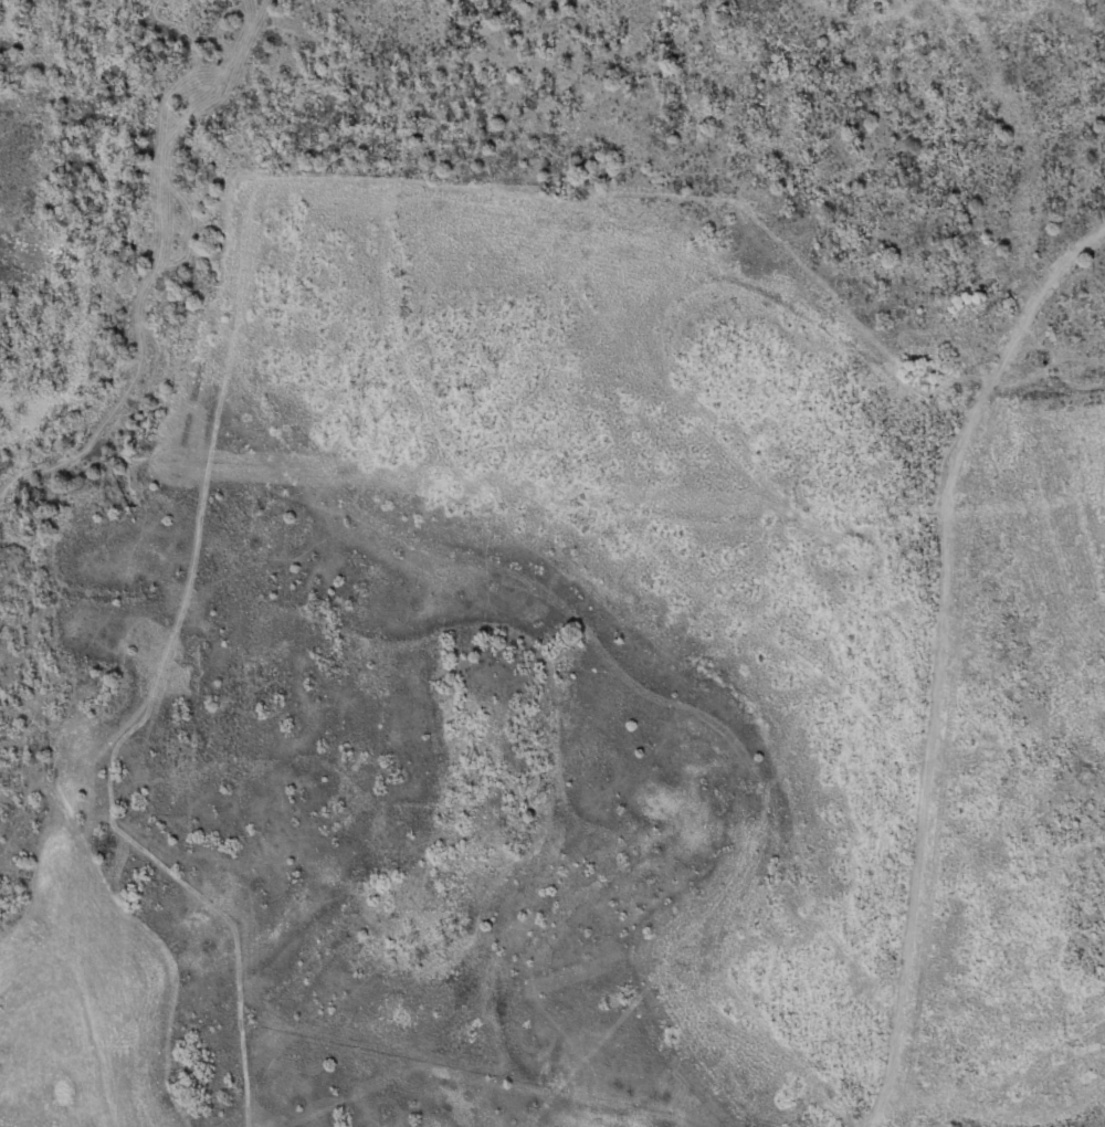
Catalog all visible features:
road: (999, 369)
road: (922, 829)

